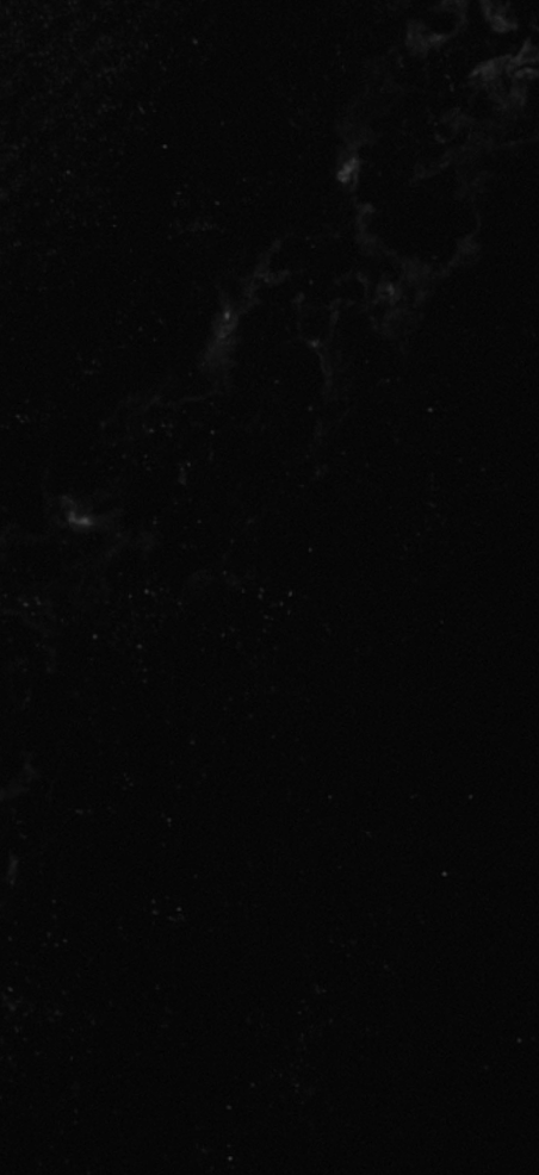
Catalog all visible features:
river: (523, 1148)

